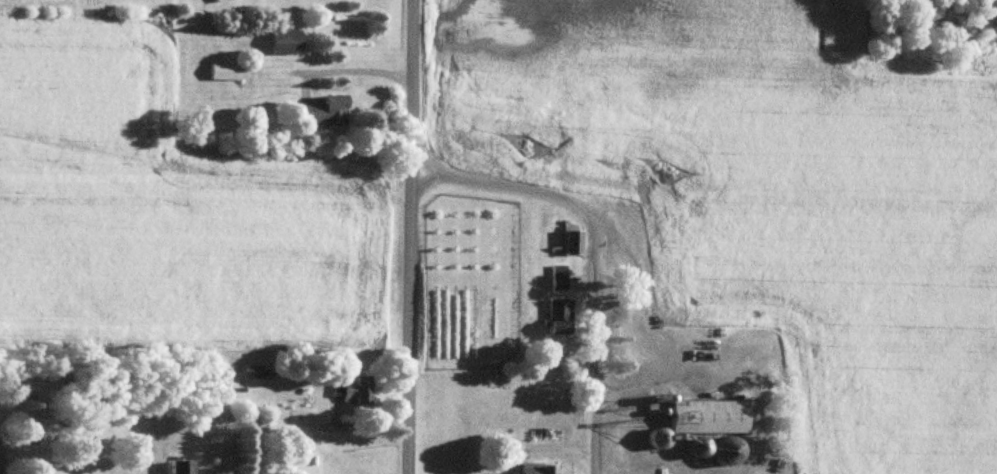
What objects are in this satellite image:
building: (210, 0)
building: (280, 39)
building: (223, 69)
building: (319, 108)
road: (409, 236)
building: (570, 240)
road: (593, 252)
building: (555, 275)
building: (553, 314)
road: (654, 325)
building: (349, 388)
building: (702, 414)
building: (691, 444)
road: (545, 445)
building: (178, 466)
building: (532, 467)
road: (2, 468)

